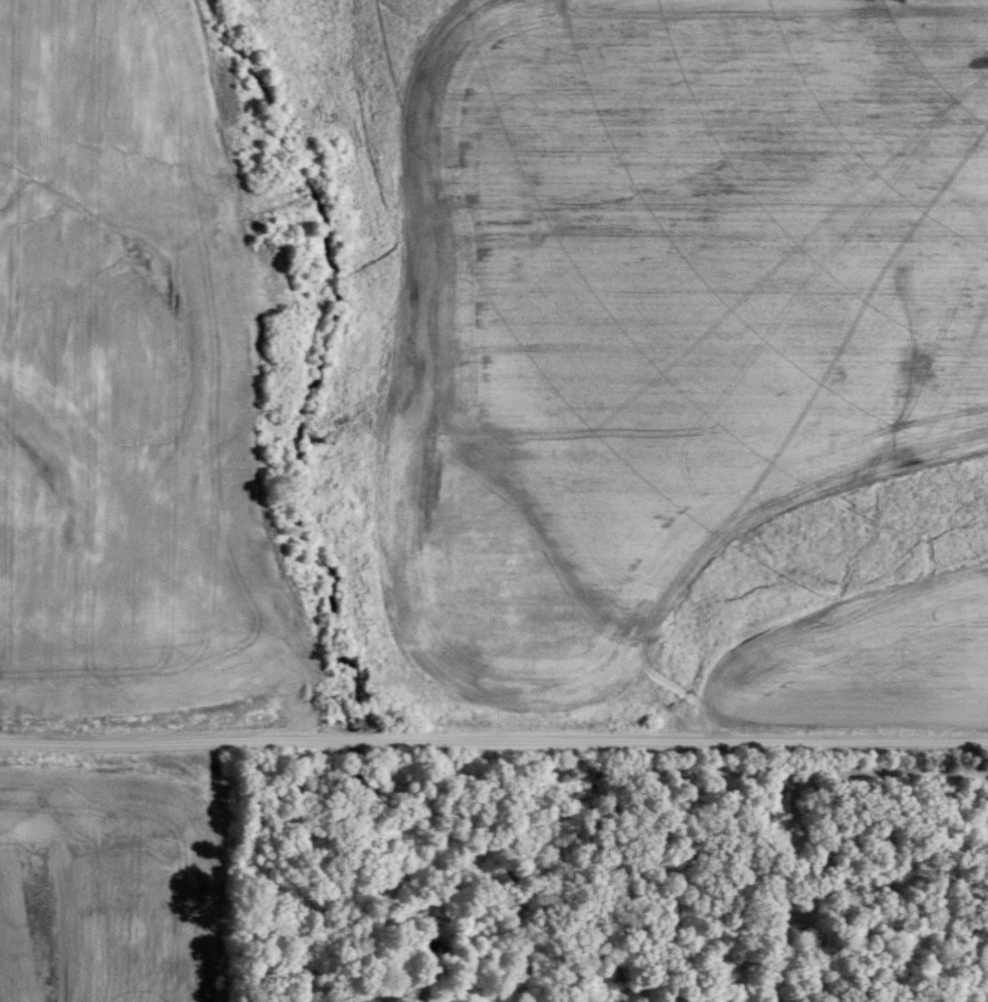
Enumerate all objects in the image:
road: (494, 741)

